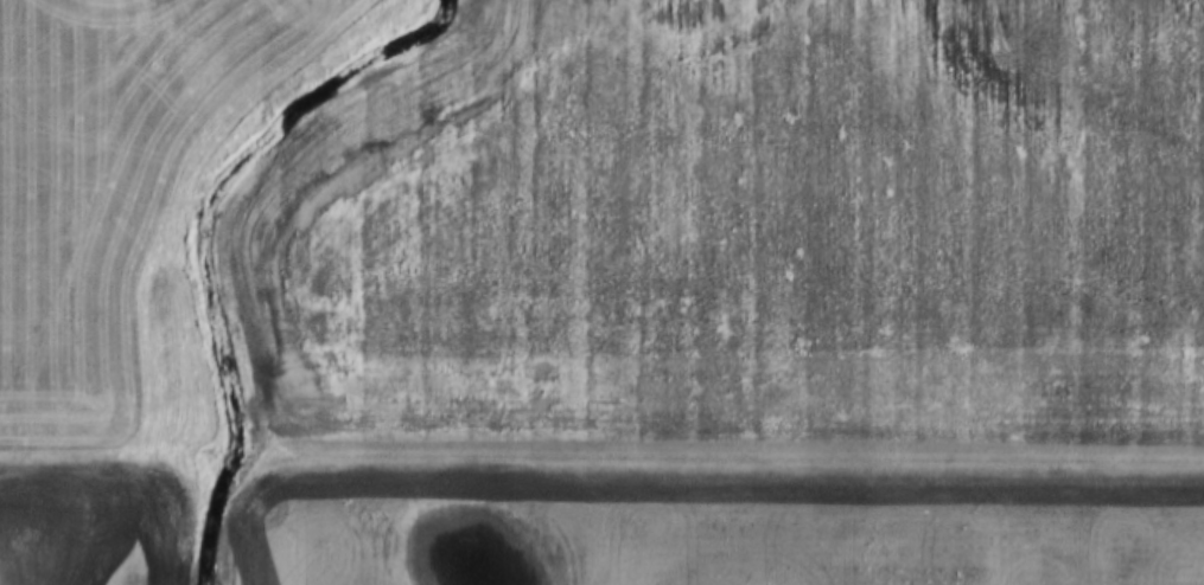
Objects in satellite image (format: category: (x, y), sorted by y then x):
river: (212, 236)

